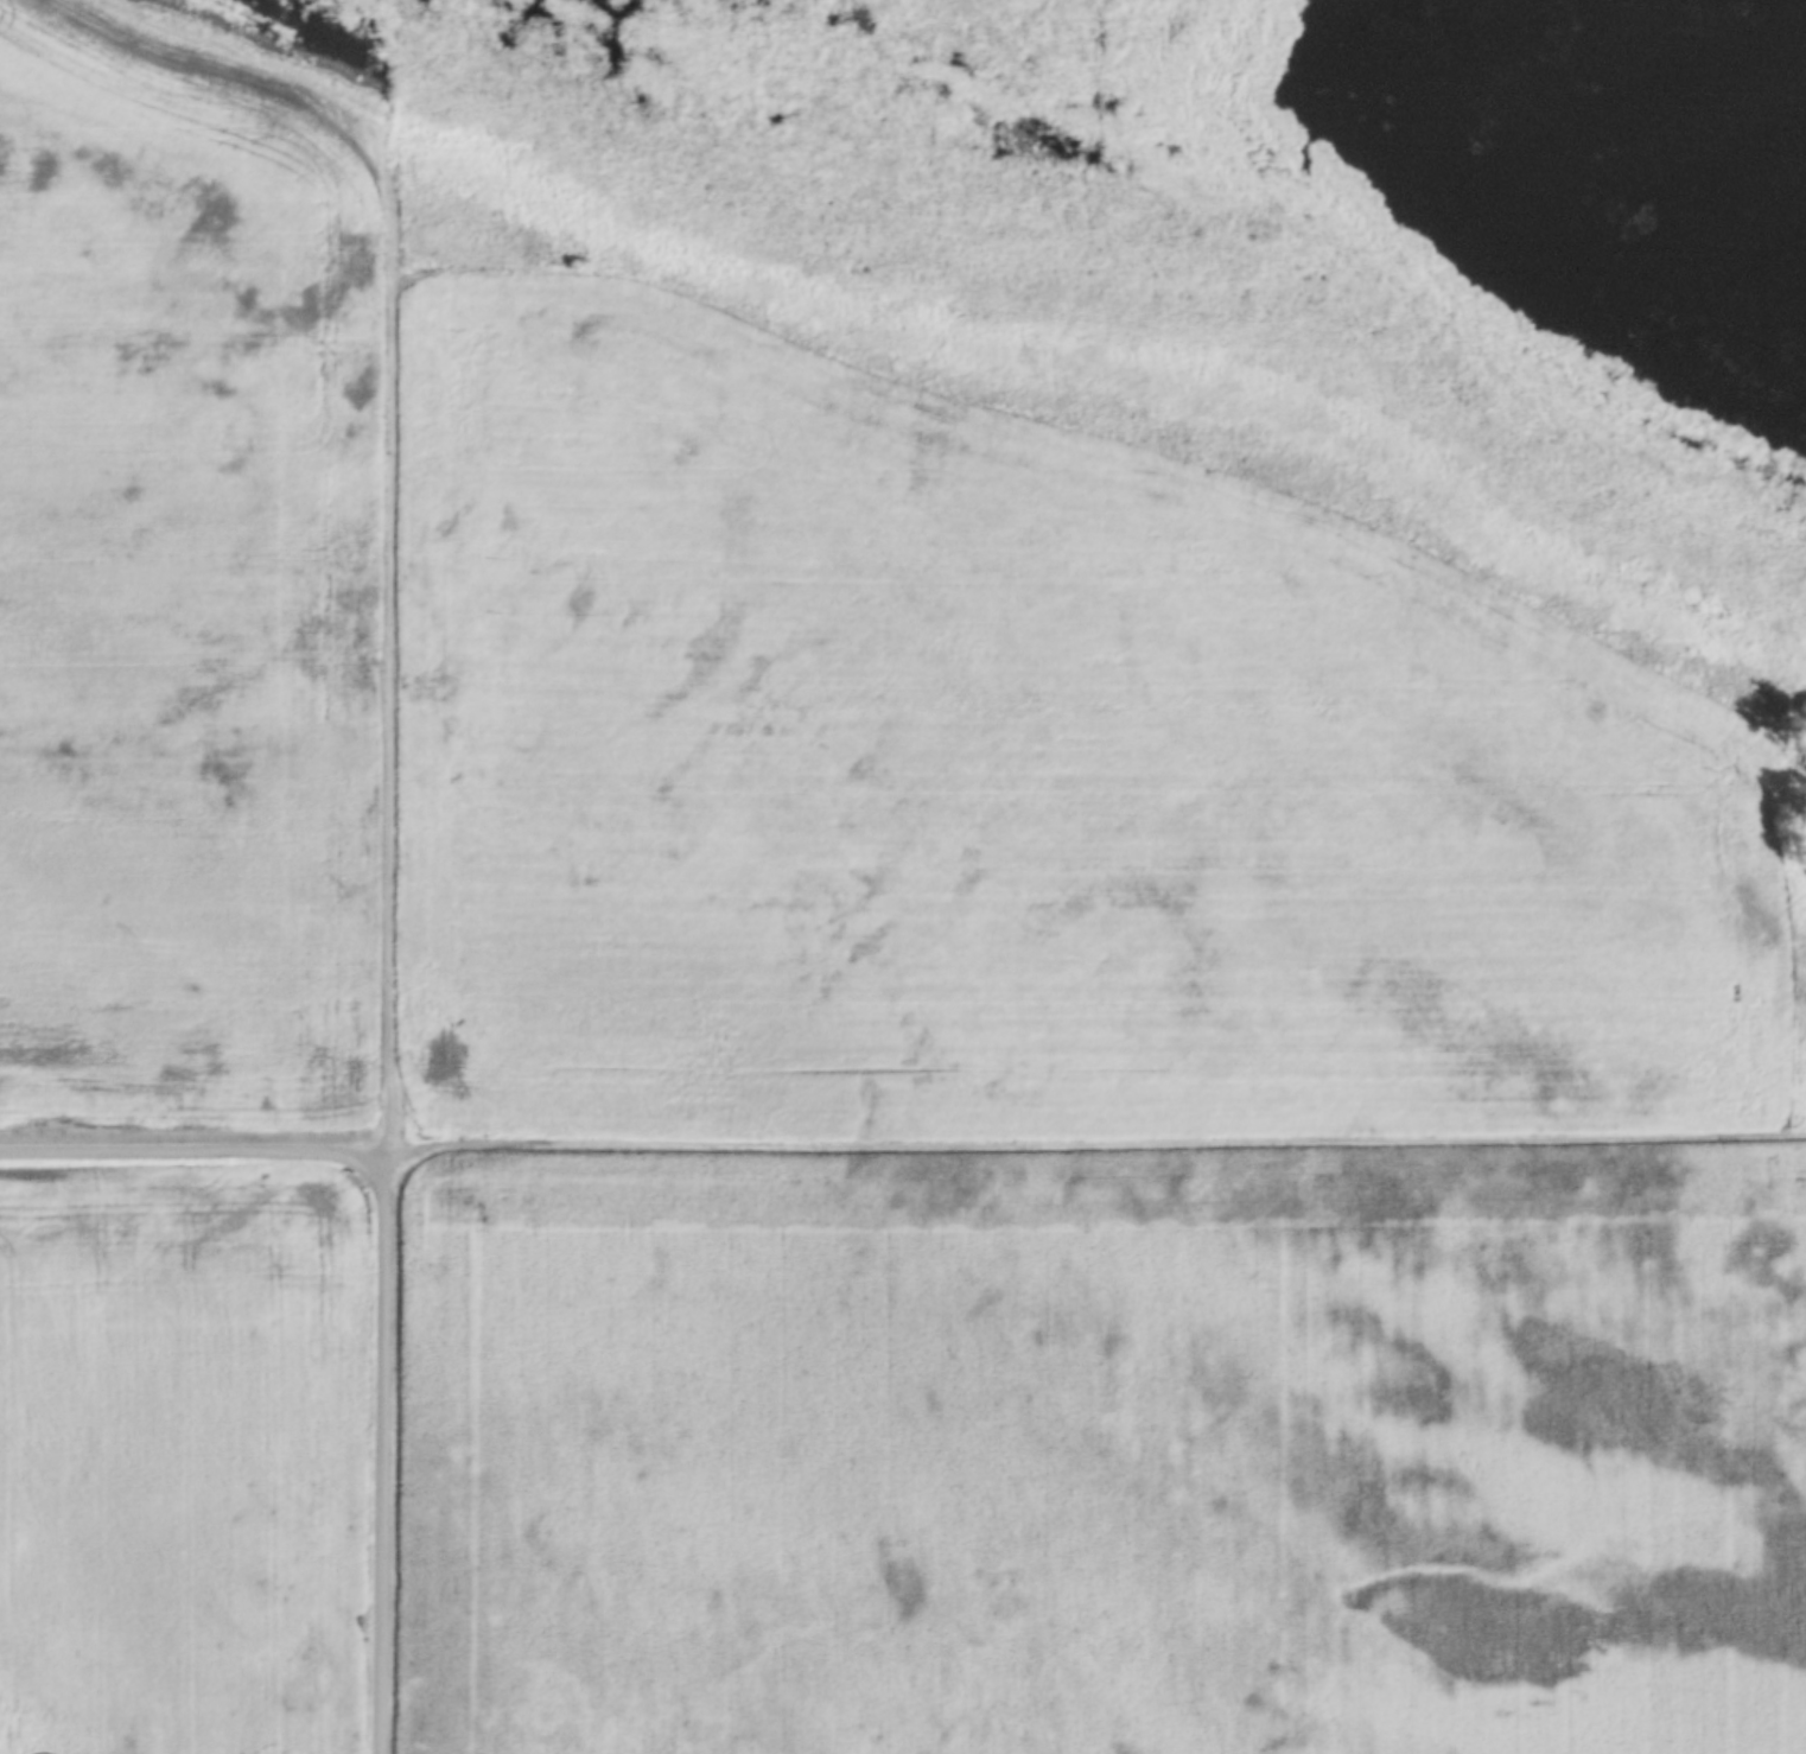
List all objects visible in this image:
road: (1095, 1152)
road: (193, 1158)
road: (384, 1456)

